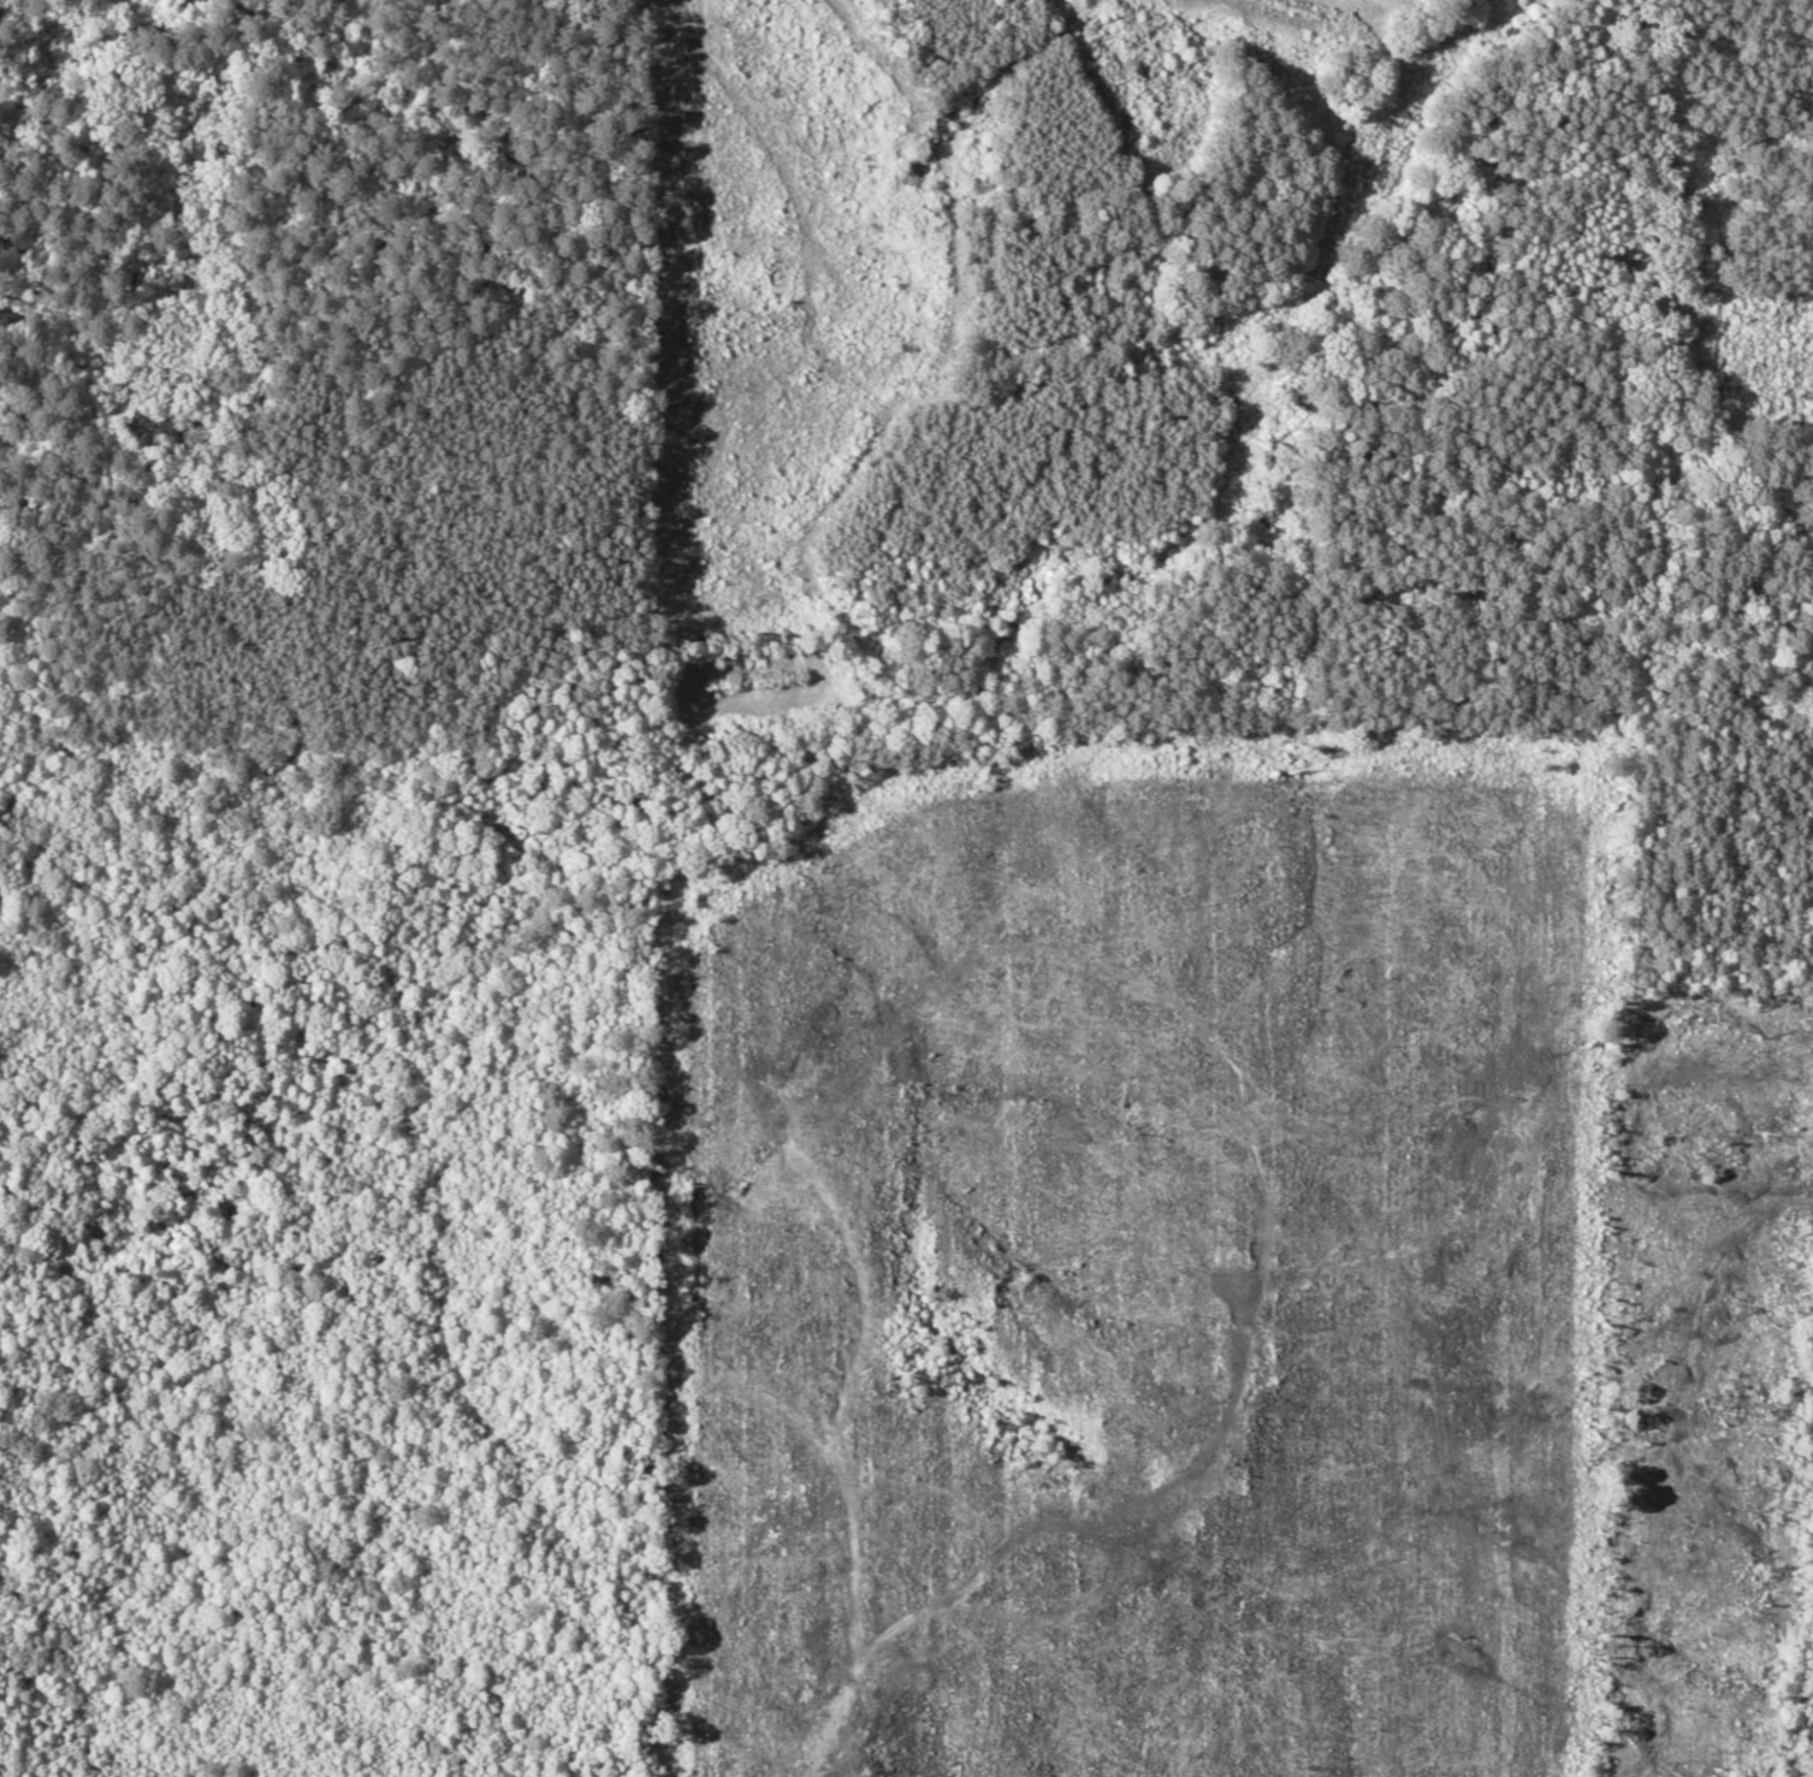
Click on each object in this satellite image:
building: (1491, 0)
road: (977, 40)
building: (936, 125)
building: (916, 174)

